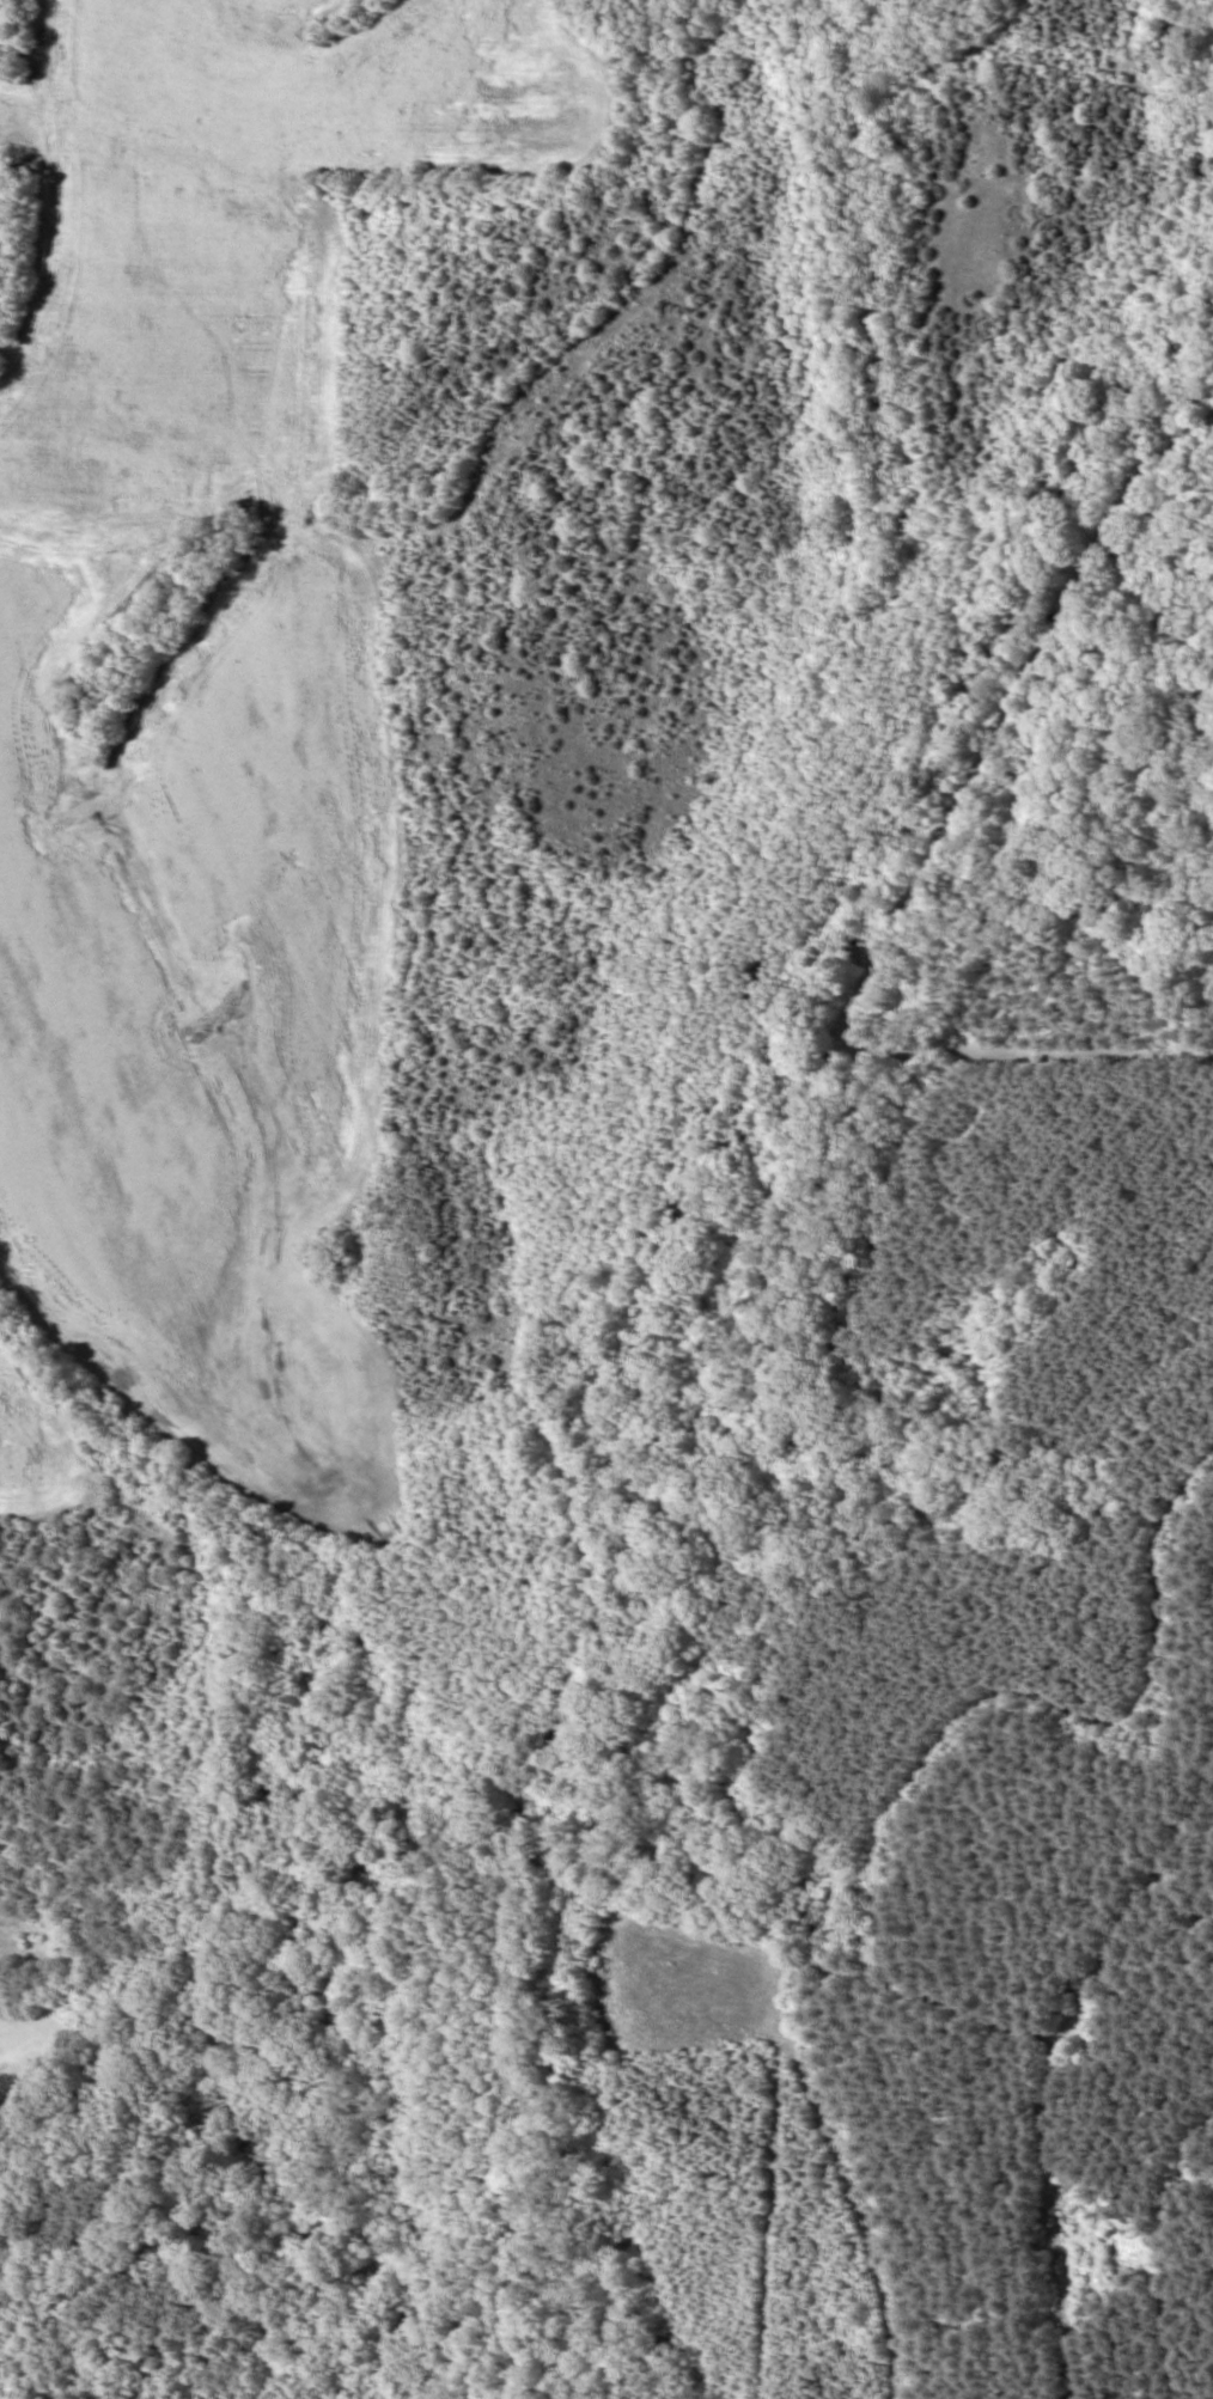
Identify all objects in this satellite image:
road: (78, 2289)
road: (159, 2294)
building: (84, 2371)
road: (138, 2389)
road: (316, 2389)

